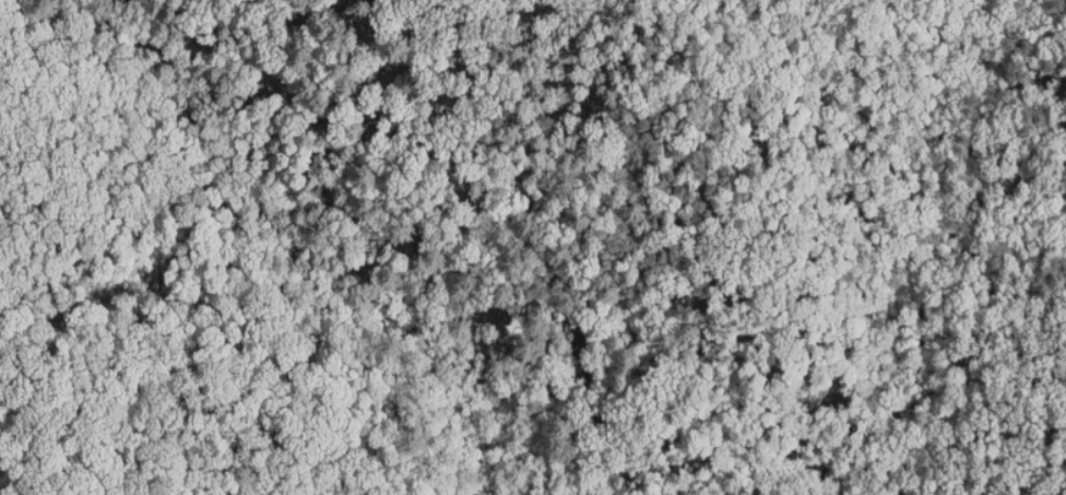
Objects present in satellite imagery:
road: (355, 263)
road: (19, 470)

